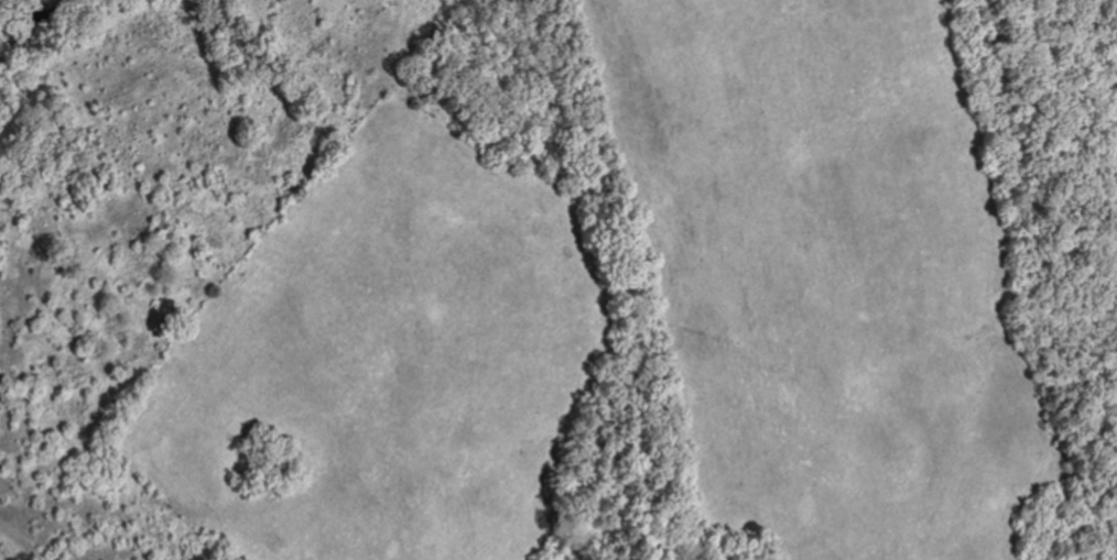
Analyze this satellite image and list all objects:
road: (22, 542)

